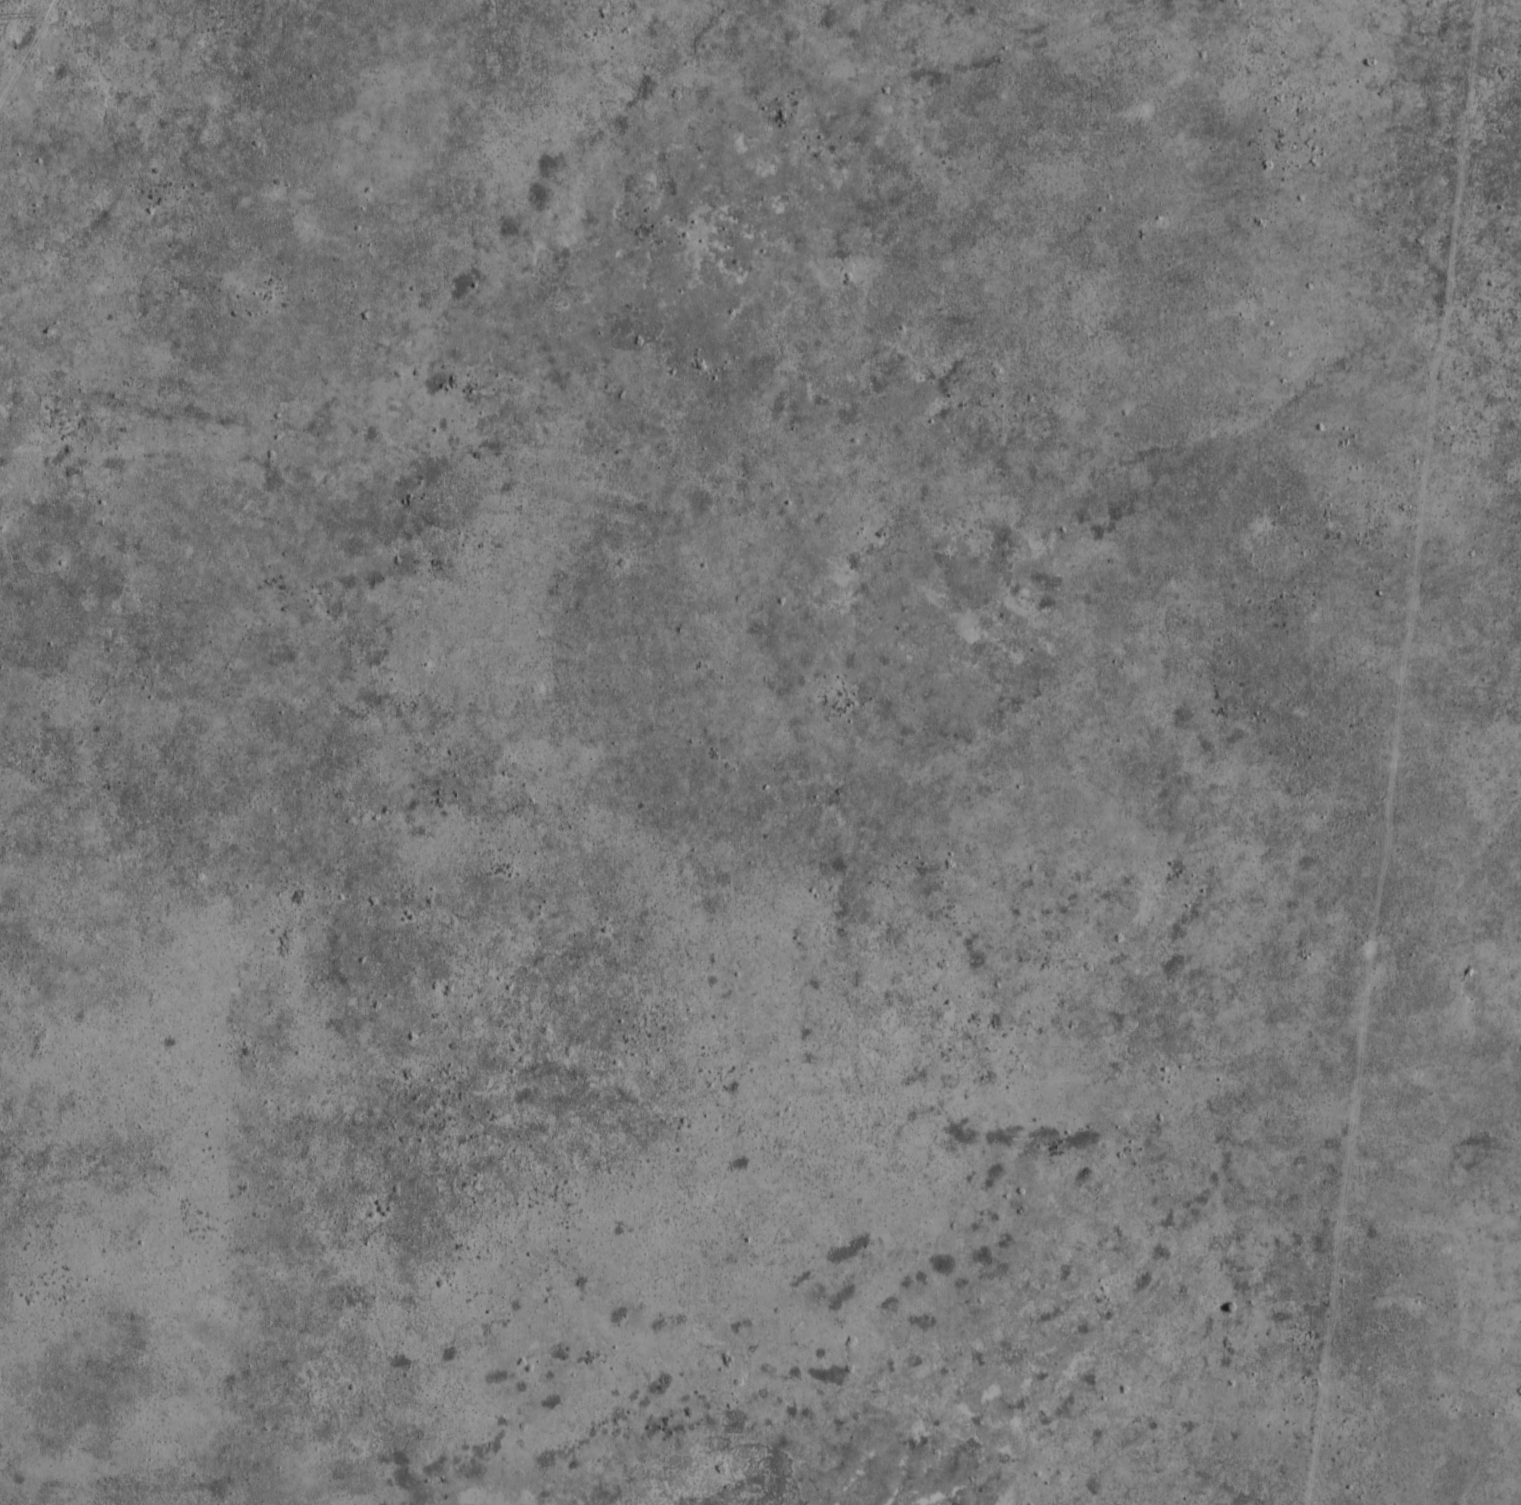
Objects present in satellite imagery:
aerialway pylon: (33, 13)
road: (27, 51)
road: (1423, 485)
road: (1445, 884)
road: (1183, 1238)
road: (1341, 1238)

